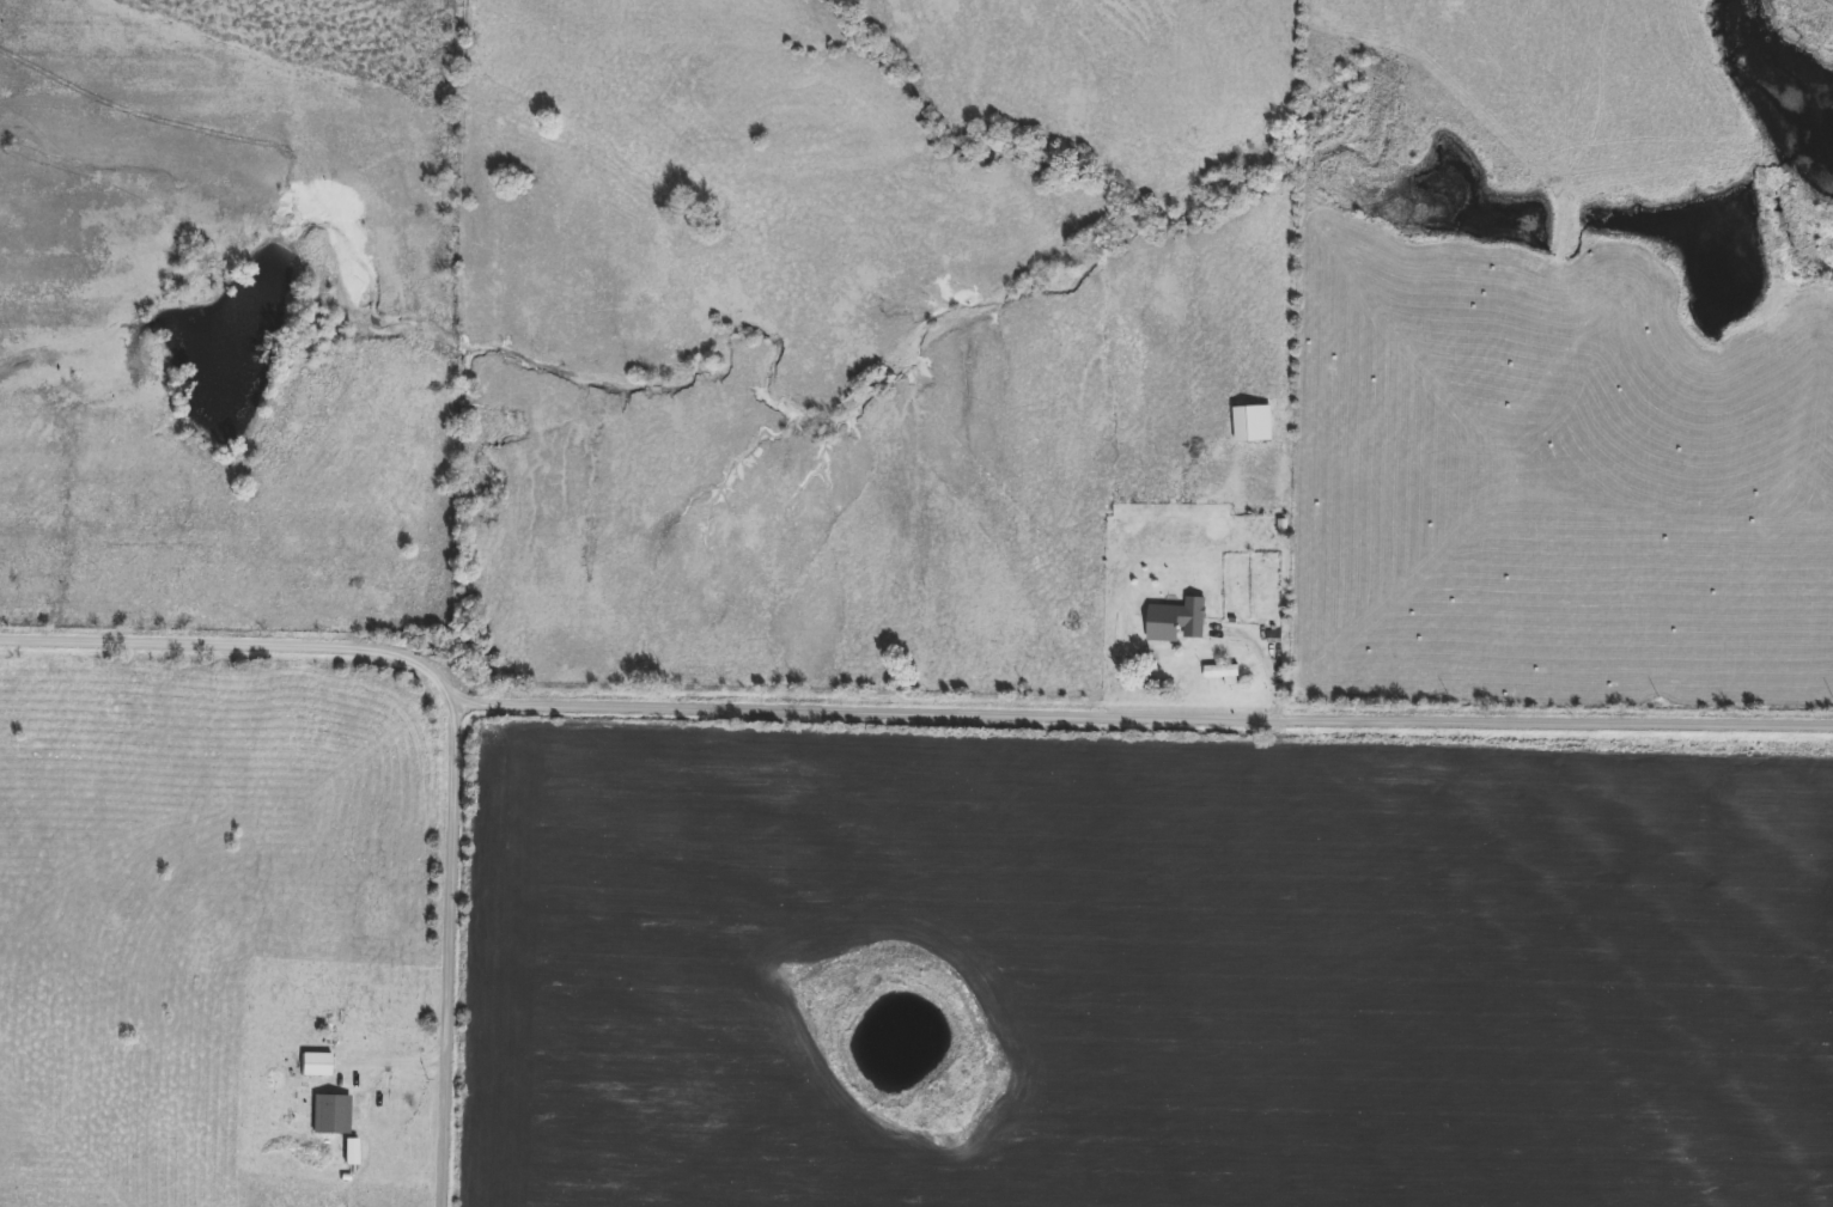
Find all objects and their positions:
building: (1254, 423)
building: (1177, 622)
road: (240, 641)
building: (1224, 673)
road: (1144, 711)
road: (446, 953)
building: (317, 1066)
building: (382, 1098)
building: (333, 1116)

